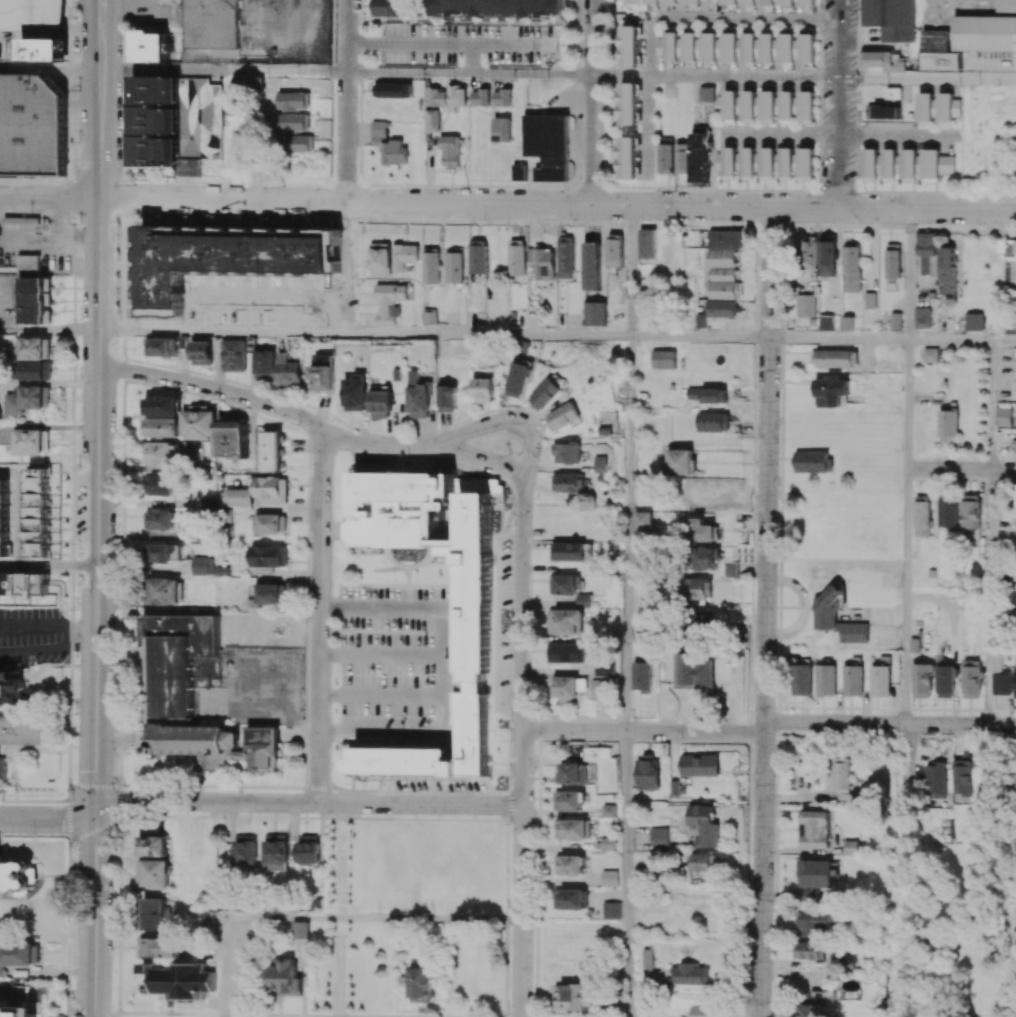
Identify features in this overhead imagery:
building: (167, 1)
building: (632, 1)
building: (724, 1)
building: (651, 2)
building: (670, 2)
building: (691, 2)
building: (749, 2)
building: (767, 2)
building: (785, 2)
building: (807, 2)
building: (1005, 6)
building: (390, 8)
building: (497, 8)
road: (102, 10)
street lamp: (857, 11)
road: (718, 17)
building: (890, 19)
building: (210, 24)
building: (33, 29)
street lamp: (123, 30)
building: (985, 33)
road: (445, 42)
building: (729, 45)
building: (748, 45)
building: (150, 46)
building: (630, 46)
building: (668, 46)
building: (689, 46)
building: (786, 46)
building: (709, 47)
building: (767, 48)
building: (806, 48)
building: (939, 51)
road: (471, 58)
building: (884, 61)
road: (51, 68)
road: (224, 70)
road: (470, 72)
road: (716, 76)
street lamp: (330, 78)
road: (928, 78)
street lamp: (583, 82)
building: (248, 85)
street lamp: (857, 86)
building: (395, 90)
street lamp: (78, 91)
building: (893, 93)
building: (706, 94)
street lamp: (677, 95)
building: (448, 96)
building: (480, 98)
building: (502, 98)
building: (295, 101)
road: (346, 101)
road: (592, 103)
building: (629, 103)
building: (728, 104)
road: (839, 104)
building: (748, 105)
building: (767, 105)
building: (806, 106)
building: (787, 107)
building: (925, 109)
building: (948, 109)
building: (887, 111)
building: (163, 120)
building: (432, 120)
building: (295, 122)
building: (32, 124)
road: (646, 125)
building: (502, 129)
road: (837, 133)
building: (303, 143)
building: (388, 144)
building: (547, 145)
building: (450, 151)
street lamp: (334, 154)
building: (699, 157)
street lamp: (121, 158)
building: (628, 158)
building: (665, 158)
building: (682, 158)
building: (729, 161)
building: (747, 163)
building: (767, 164)
building: (786, 164)
building: (806, 164)
building: (935, 164)
building: (870, 165)
building: (889, 165)
building: (908, 165)
building: (519, 171)
street lamp: (565, 187)
street lamp: (866, 193)
road: (49, 197)
road: (345, 203)
road: (803, 209)
street lamp: (148, 216)
street lamp: (483, 219)
street lamp: (641, 221)
street lamp: (79, 224)
street lamp: (978, 224)
road: (143, 234)
building: (725, 239)
building: (647, 244)
building: (1011, 250)
building: (615, 251)
building: (807, 253)
building: (927, 254)
building: (404, 256)
building: (516, 257)
building: (565, 257)
building: (380, 259)
building: (477, 259)
building: (827, 259)
building: (224, 260)
road: (131, 261)
building: (893, 263)
building: (27, 264)
building: (544, 264)
building: (591, 266)
building: (431, 267)
building: (455, 267)
building: (852, 268)
building: (948, 268)
road: (630, 271)
building: (723, 275)
road: (909, 275)
building: (37, 301)
building: (390, 302)
building: (805, 305)
building: (721, 309)
building: (594, 314)
building: (429, 316)
building: (922, 318)
building: (895, 321)
building: (974, 322)
building: (826, 323)
building: (847, 323)
road: (49, 327)
road: (364, 332)
road: (700, 337)
road: (839, 339)
road: (949, 340)
road: (1003, 341)
street lamp: (115, 343)
building: (165, 347)
building: (36, 348)
building: (206, 353)
building: (237, 355)
building: (930, 355)
building: (1015, 358)
building: (663, 359)
building: (834, 359)
building: (264, 365)
building: (289, 370)
building: (36, 371)
building: (323, 375)
building: (517, 380)
road: (215, 389)
building: (483, 390)
building: (830, 391)
building: (355, 393)
building: (544, 394)
building: (709, 395)
building: (419, 396)
building: (447, 398)
building: (27, 399)
street lamp: (218, 399)
building: (381, 404)
road: (907, 405)
building: (162, 406)
road: (989, 406)
road: (508, 417)
building: (561, 417)
building: (1004, 417)
building: (713, 422)
building: (199, 423)
street lamp: (297, 423)
building: (948, 426)
building: (161, 427)
building: (232, 438)
building: (32, 441)
road: (428, 447)
building: (272, 452)
building: (160, 453)
building: (567, 453)
building: (679, 461)
building: (813, 462)
building: (602, 464)
road: (960, 470)
building: (567, 483)
building: (158, 485)
building: (271, 489)
road: (511, 491)
building: (699, 495)
building: (238, 497)
road: (18, 508)
building: (947, 512)
building: (970, 512)
building: (922, 516)
building: (4, 517)
road: (97, 518)
building: (158, 519)
building: (642, 520)
building: (271, 524)
building: (703, 531)
road: (627, 533)
building: (568, 551)
building: (164, 553)
building: (269, 556)
building: (704, 558)
road: (48, 565)
building: (202, 566)
building: (24, 584)
building: (565, 585)
building: (694, 589)
building: (163, 591)
building: (271, 594)
road: (123, 595)
road: (905, 597)
road: (988, 598)
building: (584, 601)
road: (71, 607)
building: (476, 609)
road: (767, 613)
road: (321, 616)
building: (825, 616)
building: (568, 622)
building: (698, 625)
road: (48, 627)
building: (914, 645)
road: (48, 651)
building: (568, 652)
road: (378, 653)
street lamp: (75, 655)
building: (180, 660)
road: (435, 669)
building: (606, 669)
building: (693, 672)
building: (642, 677)
building: (802, 677)
building: (1000, 677)
building: (971, 679)
building: (826, 680)
building: (853, 680)
building: (880, 681)
building: (922, 681)
building: (945, 682)
building: (1014, 684)
building: (12, 687)
building: (570, 688)
building: (600, 689)
road: (378, 694)
road: (769, 726)
building: (19, 736)
building: (216, 744)
road: (522, 745)
building: (700, 765)
building: (649, 773)
building: (572, 774)
building: (841, 774)
building: (961, 777)
road: (295, 786)
building: (568, 801)
road: (309, 804)
traffic signals: (97, 810)
building: (609, 811)
road: (49, 820)
road: (93, 825)
building: (705, 826)
building: (573, 829)
building: (815, 829)
building: (659, 839)
building: (608, 844)
building: (152, 846)
building: (851, 848)
building: (245, 849)
building: (276, 849)
building: (308, 850)
building: (704, 863)
building: (569, 865)
building: (152, 874)
road: (626, 874)
building: (18, 876)
road: (94, 876)
building: (610, 878)
building: (818, 878)
building: (569, 899)
road: (339, 902)
building: (316, 904)
building: (611, 910)
building: (155, 914)
park: (967, 914)
road: (321, 916)
building: (206, 921)
building: (821, 922)
building: (300, 935)
building: (160, 947)
building: (812, 950)
building: (18, 955)
building: (650, 960)
building: (846, 961)
building: (694, 975)
building: (286, 978)
building: (177, 981)
building: (422, 984)
road: (16, 996)
building: (572, 997)
road: (1014, 1000)
building: (815, 1005)
building: (618, 1008)
building: (16, 1010)
building: (705, 1011)
parking lot: (15, 1014)
road: (230, 1014)
road: (960, 1015)

